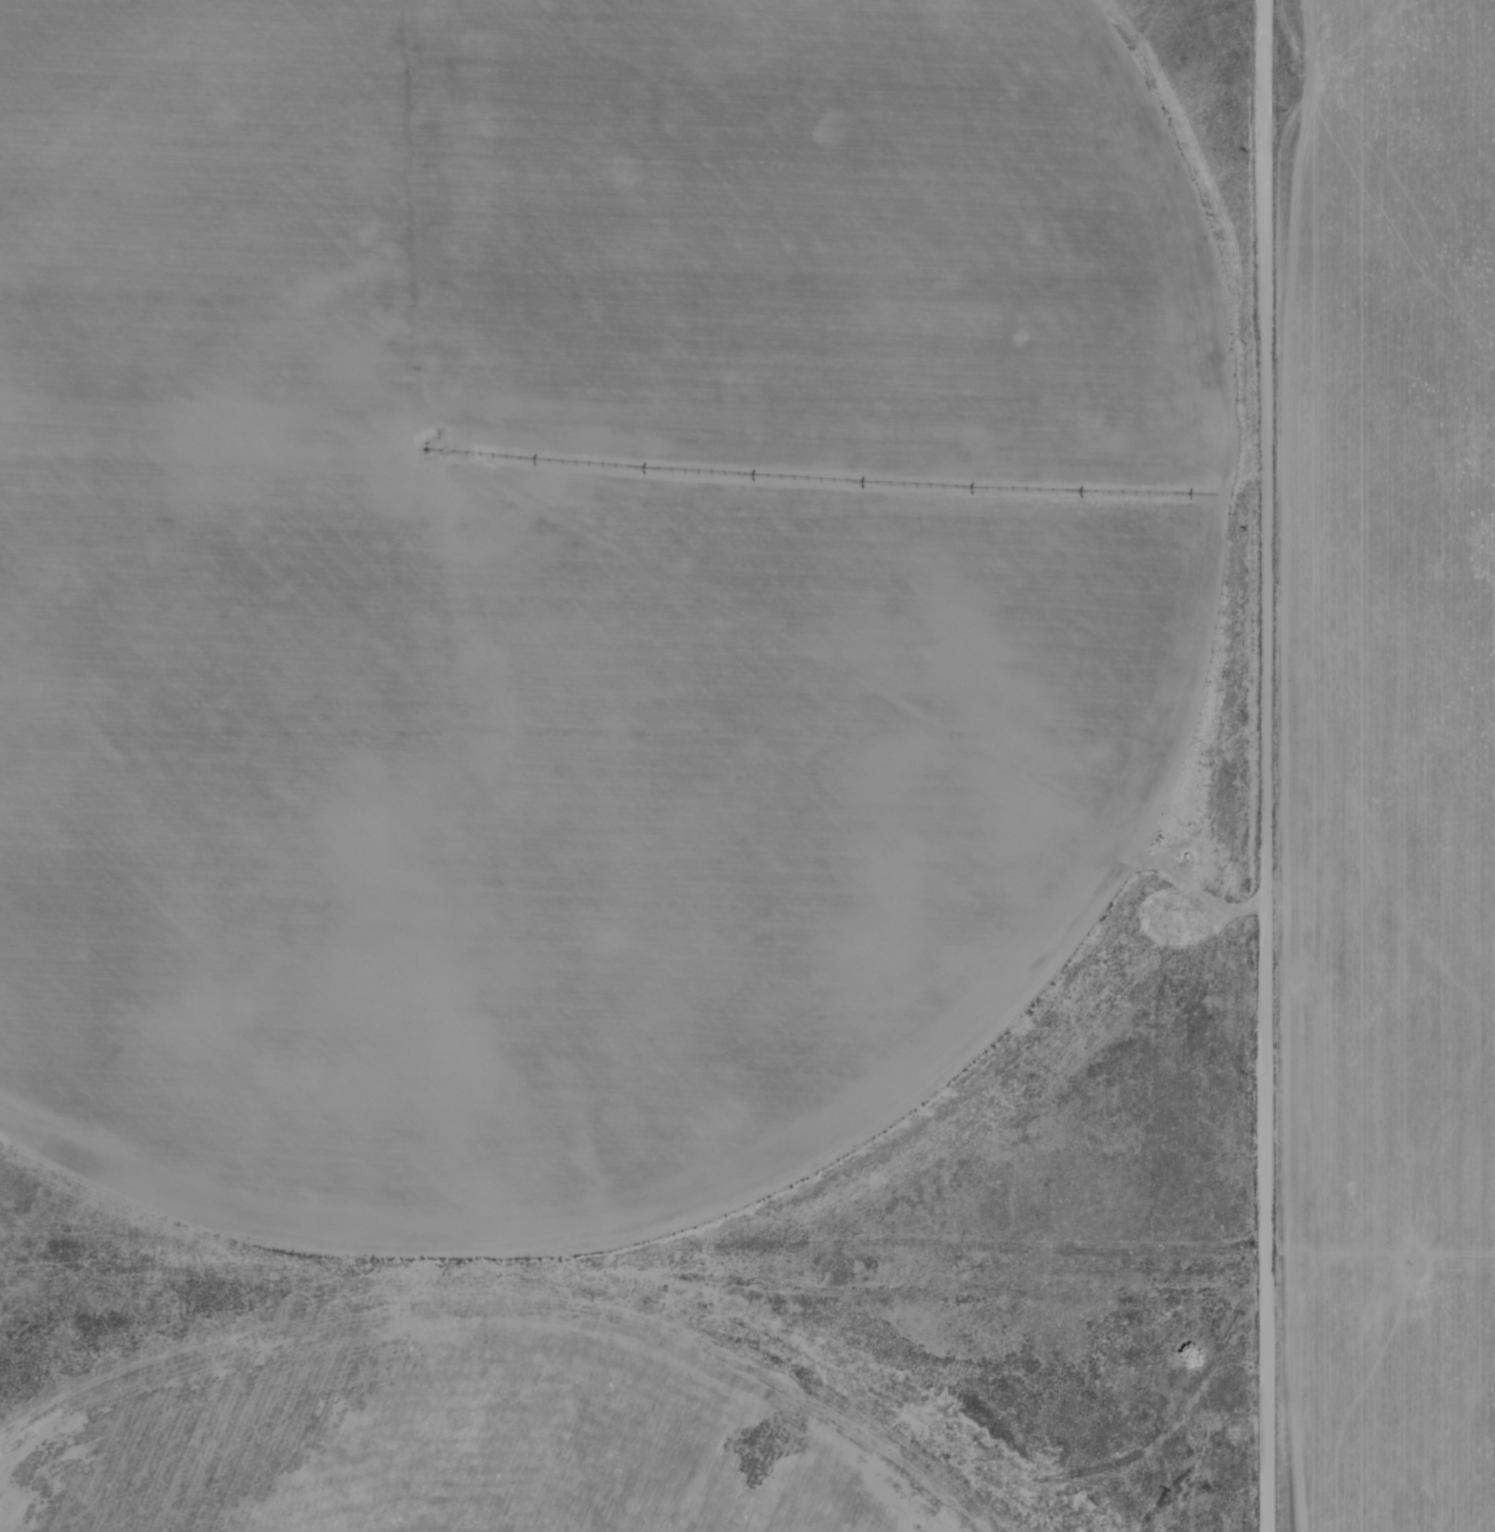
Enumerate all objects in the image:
road: (1268, 766)

